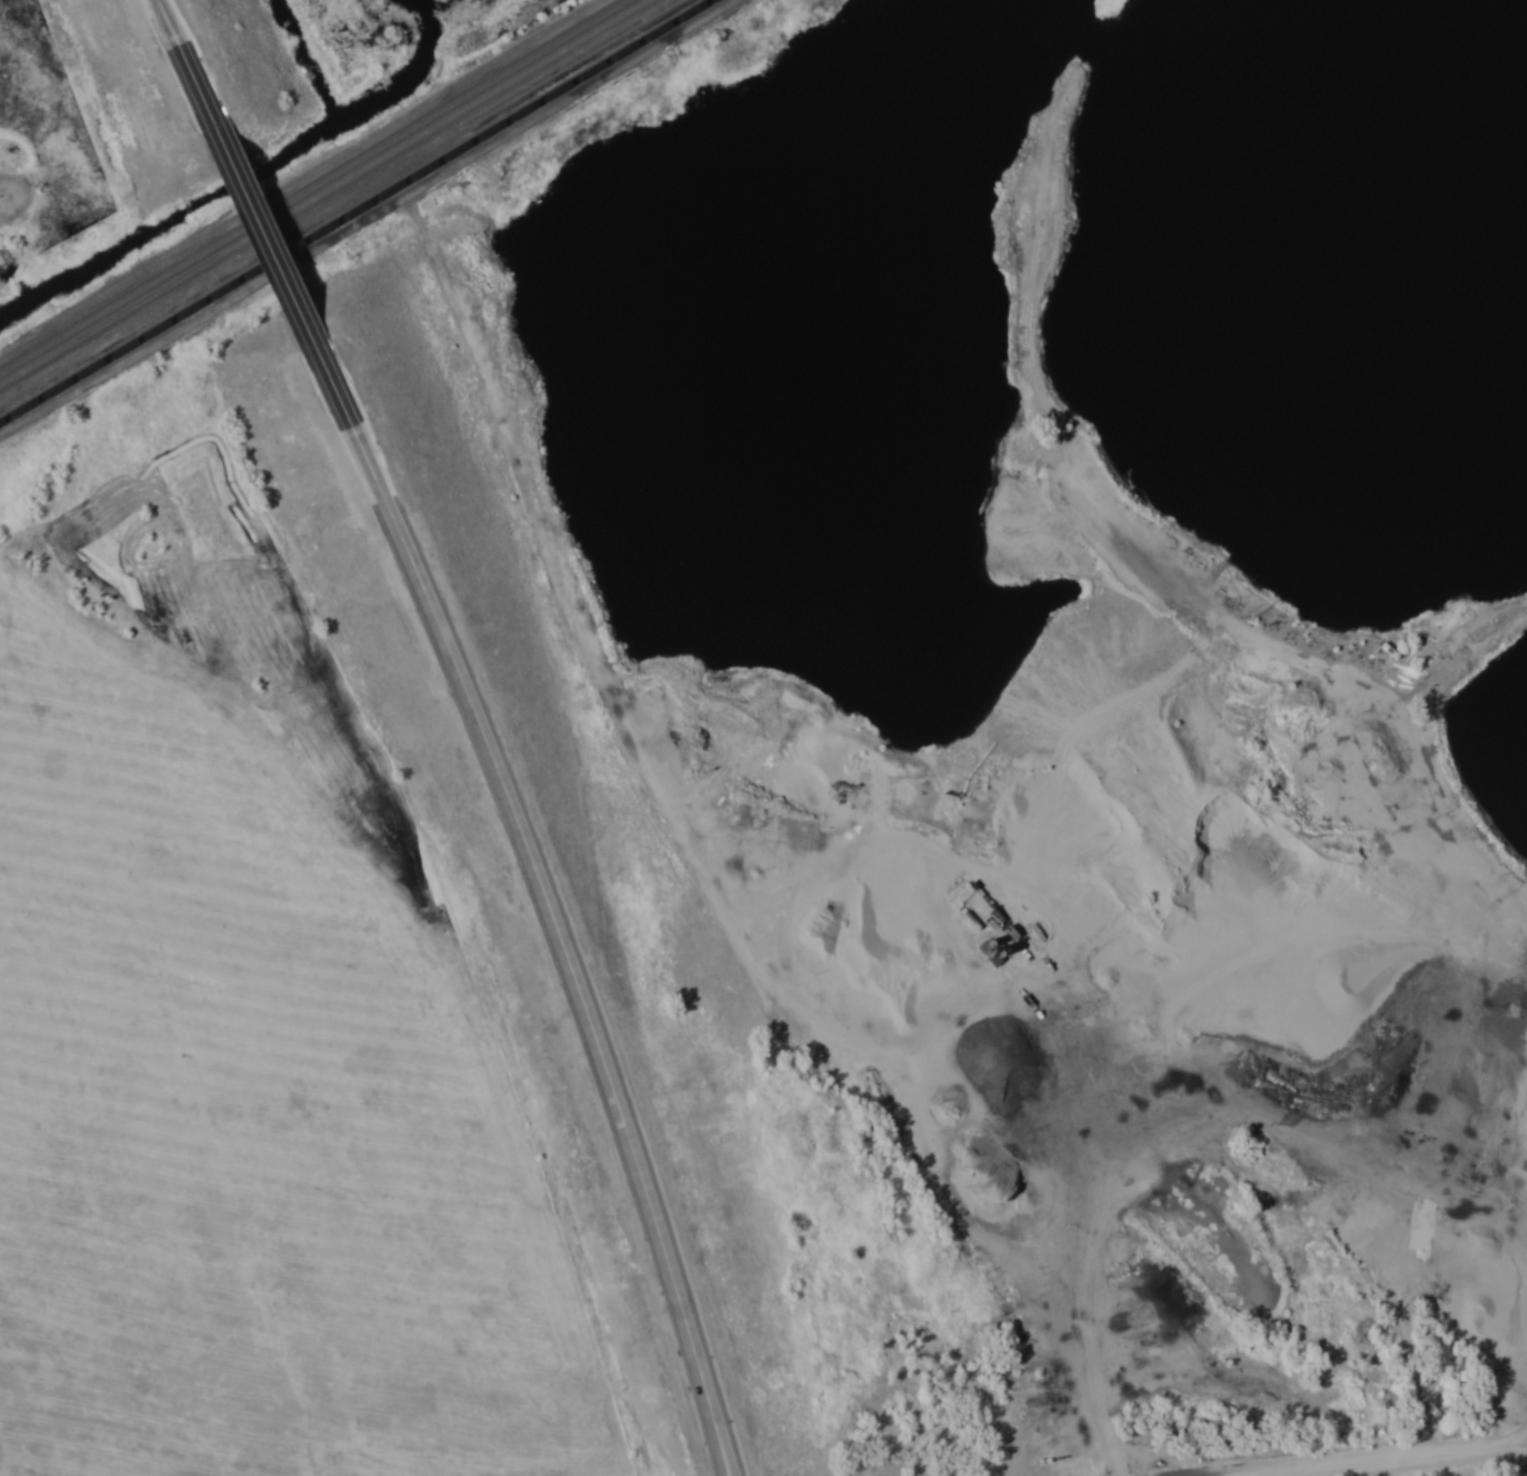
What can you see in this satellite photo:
road: (187, 54)
railway: (317, 187)
railway: (327, 193)
railway: (356, 212)
road: (270, 232)
road: (617, 690)
road: (552, 907)
road: (1401, 1458)

